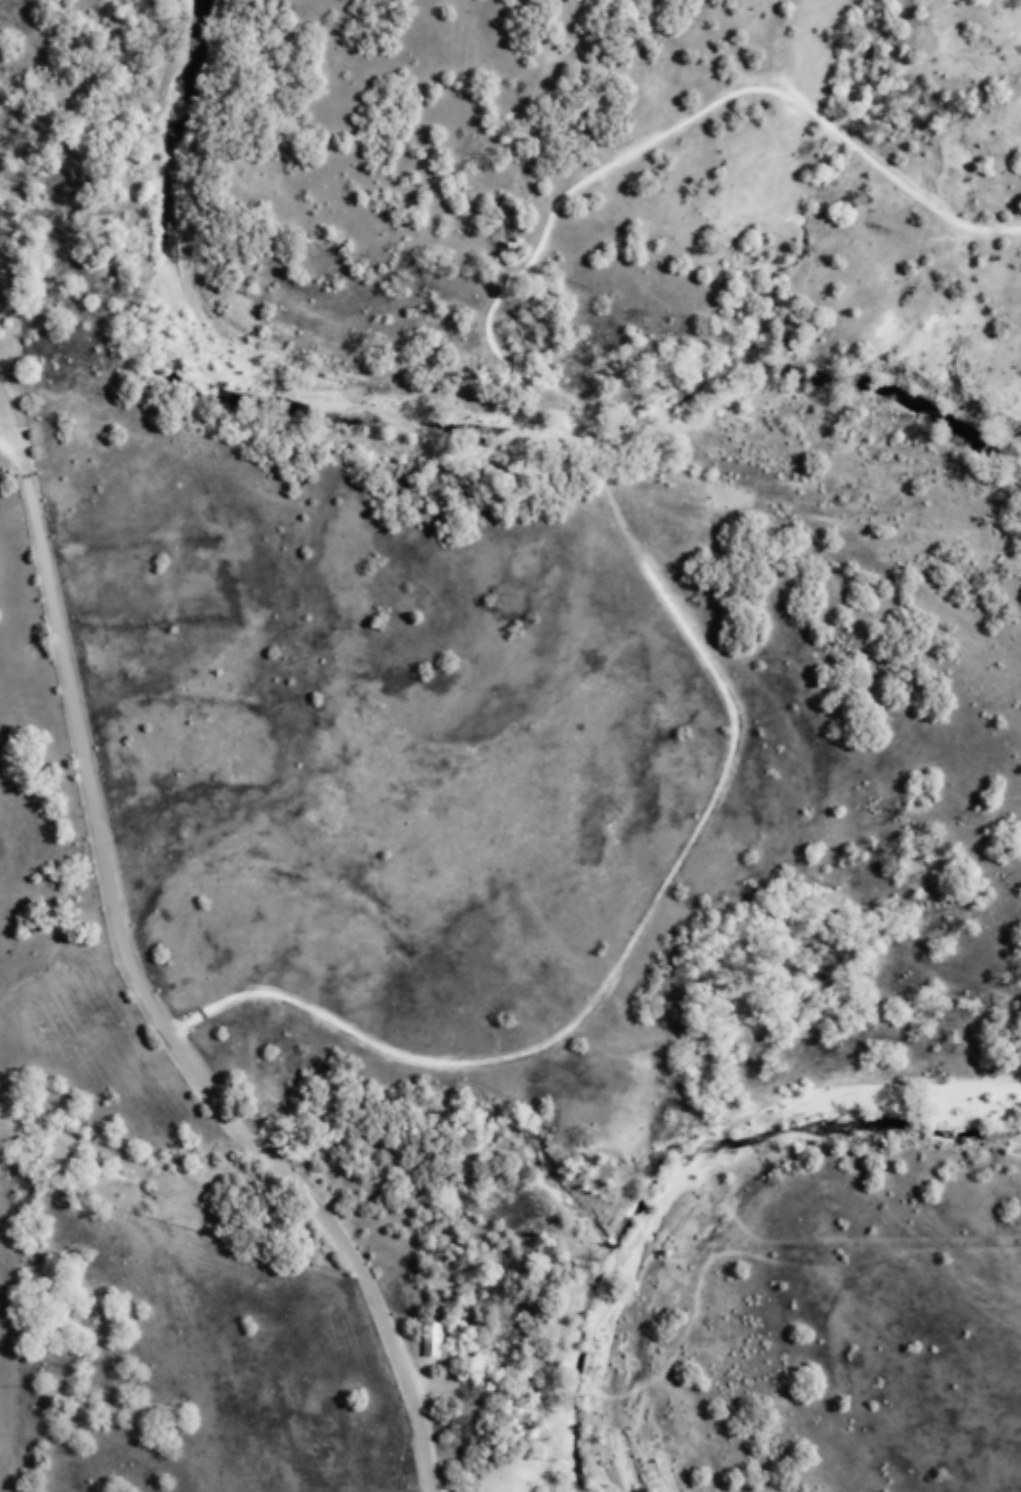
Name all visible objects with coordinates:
river: (437, 413)
road: (13, 452)
road: (142, 977)
river: (681, 1169)
building: (432, 1337)

